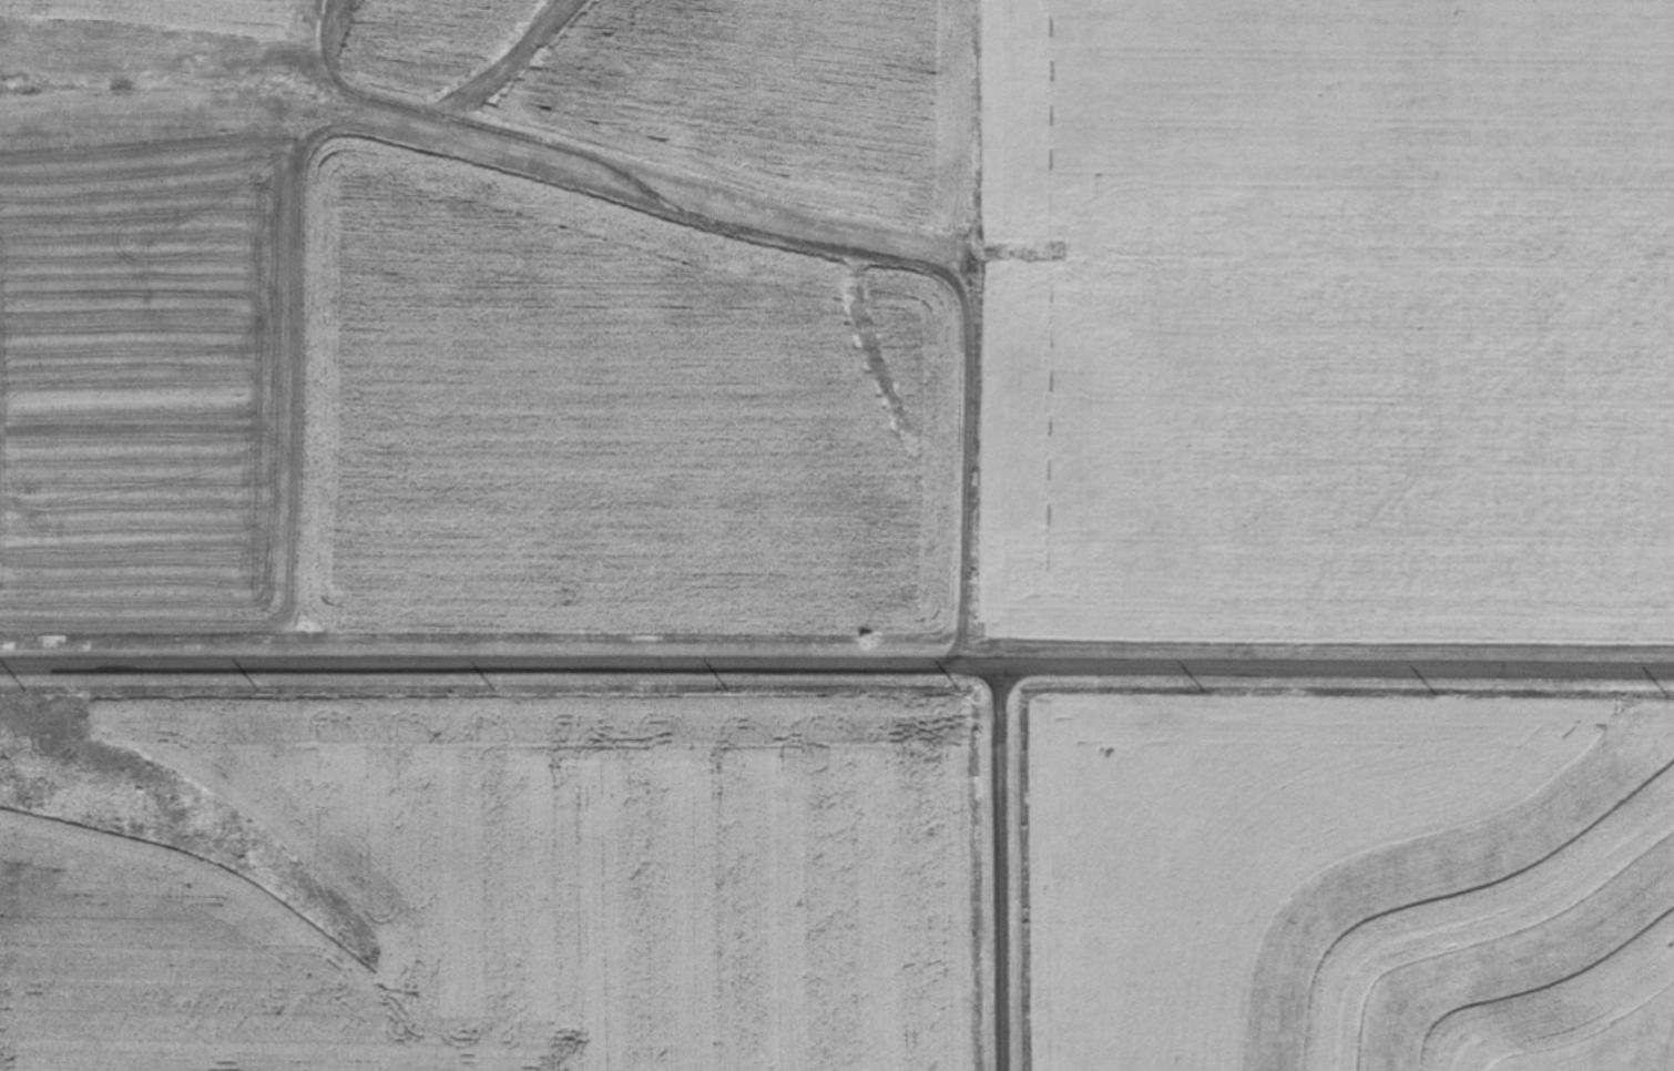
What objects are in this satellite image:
road: (836, 696)
road: (984, 883)

